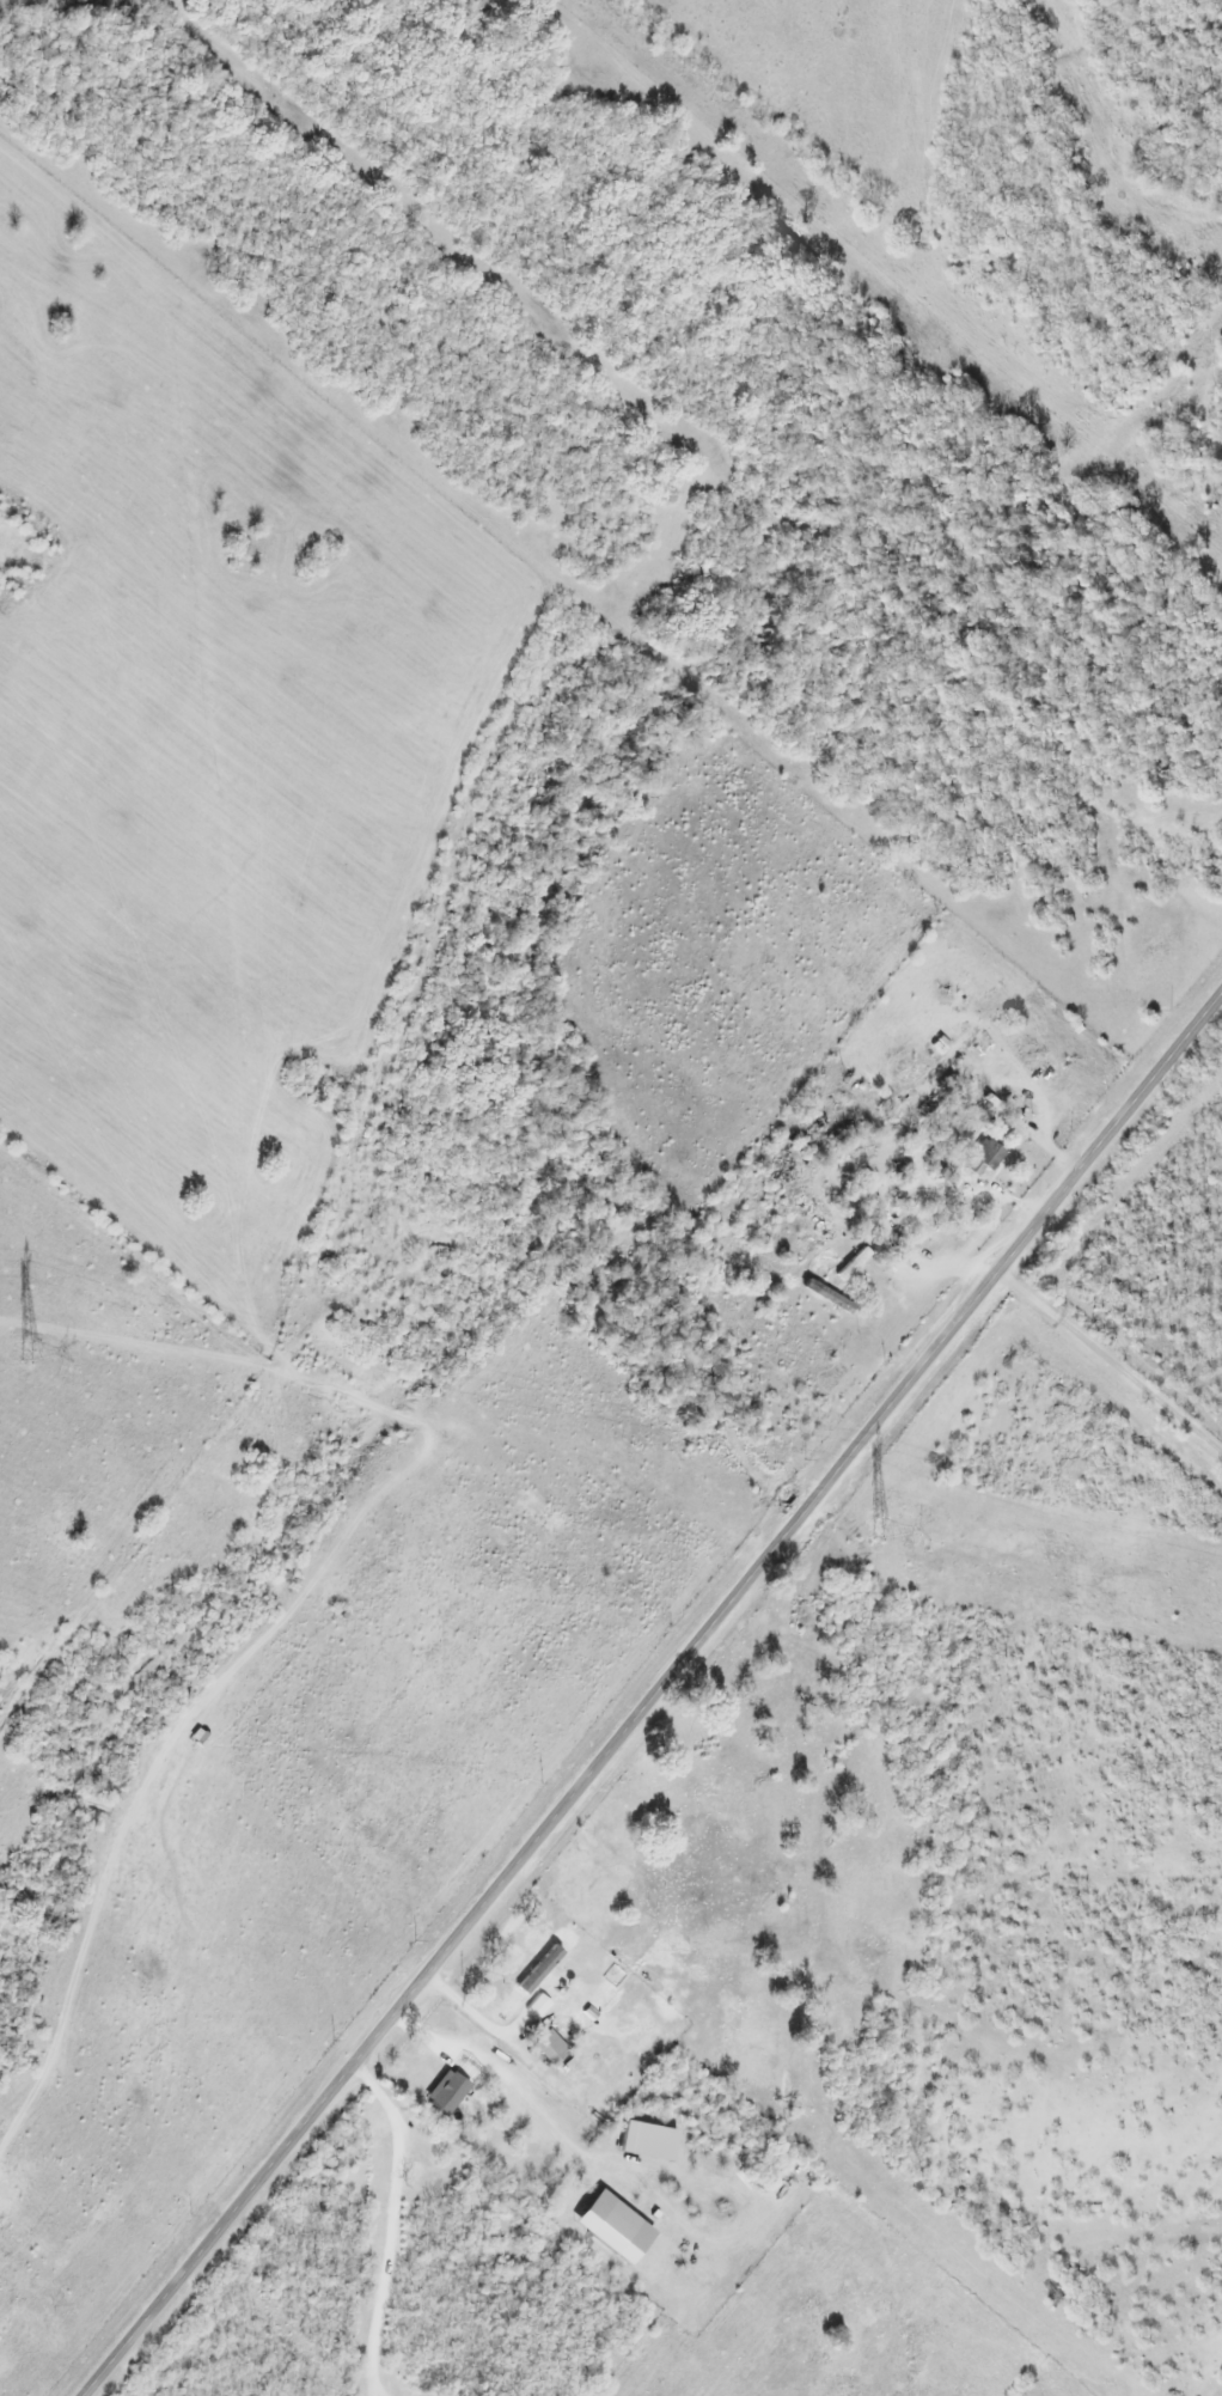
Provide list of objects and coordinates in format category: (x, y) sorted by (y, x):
building: (936, 1095)
building: (980, 1156)
building: (844, 1276)
power tower: (25, 1349)
power tower: (876, 1530)
road: (652, 1696)
building: (548, 2048)
building: (452, 2077)

